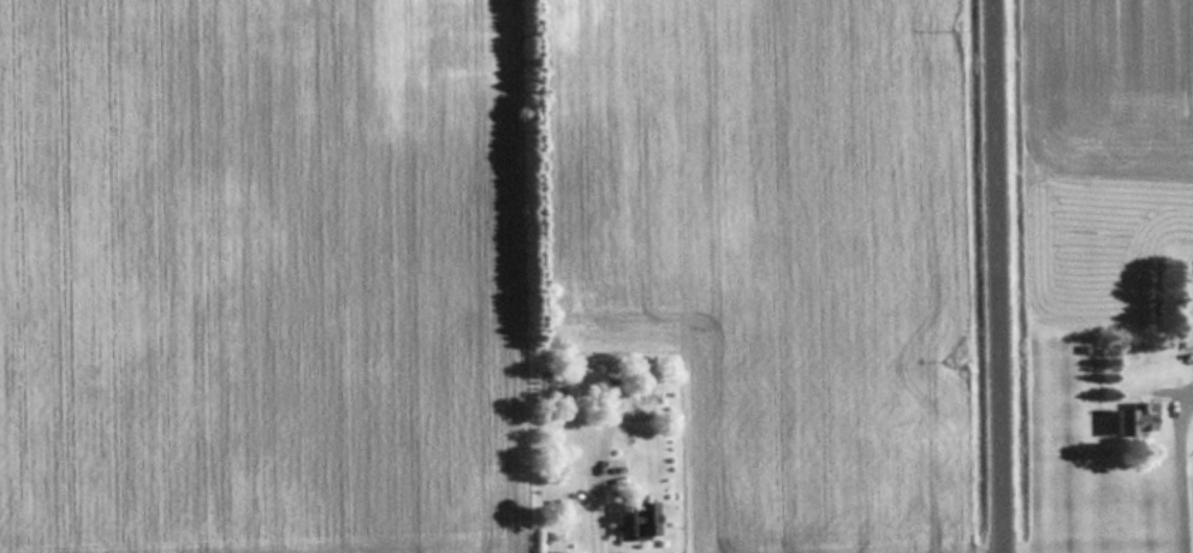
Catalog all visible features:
road: (1008, 276)
building: (1183, 303)
building: (1132, 420)
building: (640, 519)

